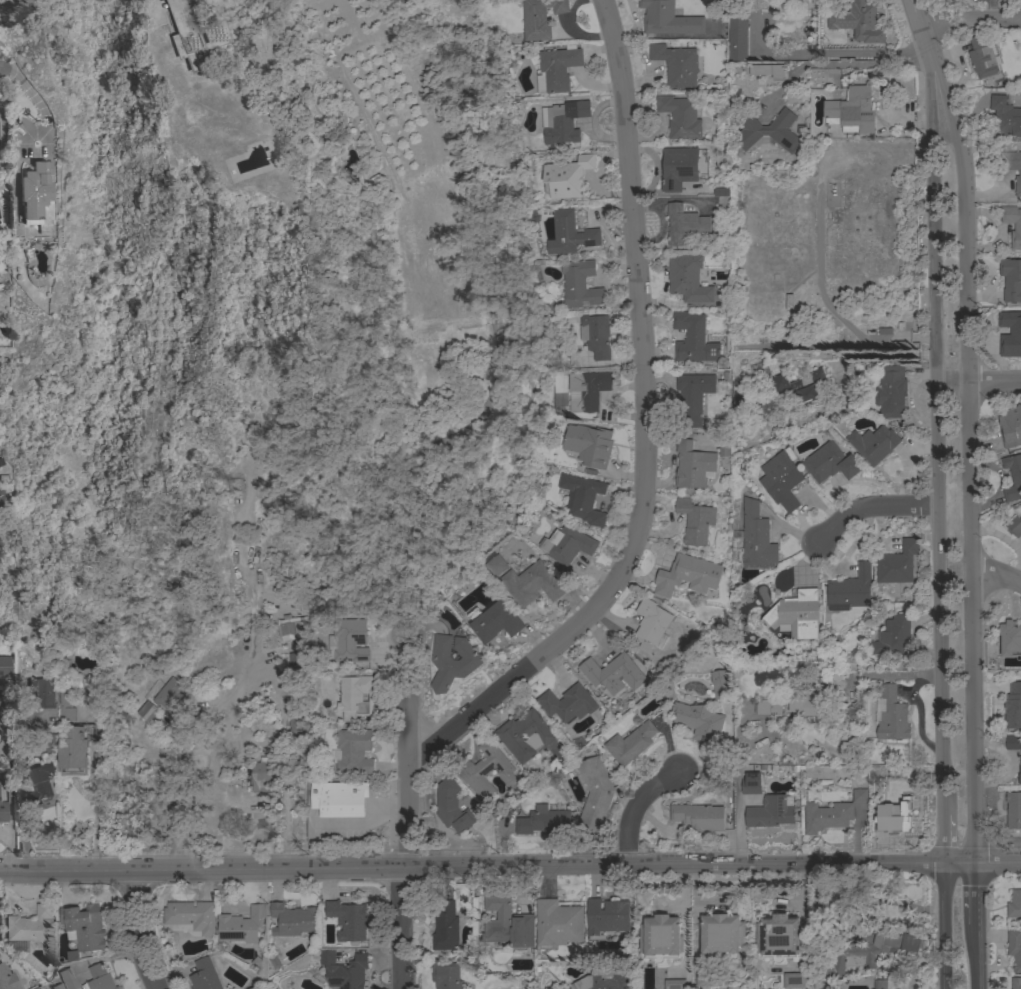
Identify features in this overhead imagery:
road: (153, 1)
building: (540, 18)
building: (668, 18)
road: (969, 18)
building: (856, 23)
building: (818, 28)
building: (190, 35)
building: (737, 38)
road: (925, 46)
building: (982, 56)
building: (676, 64)
road: (844, 66)
building: (557, 68)
road: (1, 69)
building: (767, 70)
building: (851, 110)
building: (680, 116)
building: (1005, 116)
building: (563, 122)
building: (770, 130)
building: (682, 166)
building: (1012, 166)
building: (568, 177)
building: (34, 192)
building: (684, 223)
building: (1017, 226)
building: (571, 234)
building: (687, 278)
building: (1011, 279)
building: (581, 284)
building: (1010, 333)
building: (595, 335)
building: (693, 339)
road: (978, 380)
building: (809, 382)
building: (587, 389)
building: (891, 391)
building: (693, 397)
building: (1011, 426)
road: (642, 435)
building: (874, 443)
building: (587, 445)
road: (938, 454)
building: (830, 462)
building: (693, 465)
road: (970, 474)
building: (1012, 476)
building: (781, 480)
building: (0, 492)
building: (583, 498)
road: (868, 505)
building: (695, 521)
building: (1014, 526)
building: (756, 536)
building: (567, 544)
building: (897, 563)
building: (495, 564)
road: (981, 572)
building: (687, 575)
building: (532, 583)
building: (850, 589)
building: (797, 614)
building: (495, 621)
building: (650, 623)
building: (290, 630)
building: (894, 635)
building: (1010, 638)
building: (348, 640)
building: (297, 657)
building: (452, 661)
building: (5, 670)
building: (613, 672)
road: (896, 675)
building: (720, 684)
building: (43, 691)
building: (170, 695)
building: (355, 696)
building: (810, 701)
building: (568, 703)
building: (66, 704)
building: (766, 706)
building: (1013, 706)
building: (148, 711)
building: (891, 715)
road: (232, 719)
building: (699, 721)
building: (525, 735)
building: (1012, 741)
building: (47, 742)
building: (630, 743)
building: (355, 750)
building: (73, 757)
building: (98, 761)
building: (485, 769)
building: (1019, 772)
building: (261, 775)
building: (42, 782)
building: (751, 783)
road: (10, 794)
building: (595, 794)
building: (859, 795)
building: (339, 798)
road: (401, 803)
building: (450, 805)
road: (637, 808)
building: (1013, 809)
building: (770, 812)
building: (3, 813)
building: (901, 814)
building: (827, 816)
building: (697, 817)
road: (98, 821)
building: (544, 821)
road: (24, 823)
road: (944, 838)
road: (998, 860)
road: (960, 861)
road: (472, 863)
road: (975, 893)
building: (1014, 904)
building: (607, 915)
building: (191, 917)
building: (292, 919)
building: (348, 920)
building: (558, 922)
building: (507, 923)
building: (31, 925)
building: (242, 925)
road: (945, 925)
building: (85, 926)
building: (446, 927)
road: (137, 931)
building: (722, 935)
building: (779, 937)
building: (660, 938)
building: (911, 942)
building: (1014, 948)
building: (861, 953)
road: (976, 957)
building: (344, 970)
building: (205, 975)
building: (446, 975)
building: (99, 978)
building: (706, 978)
building: (67, 979)
building: (795, 979)
building: (603, 980)
building: (3, 981)
building: (1016, 982)
building: (675, 984)
building: (880, 984)
building: (56, 986)

